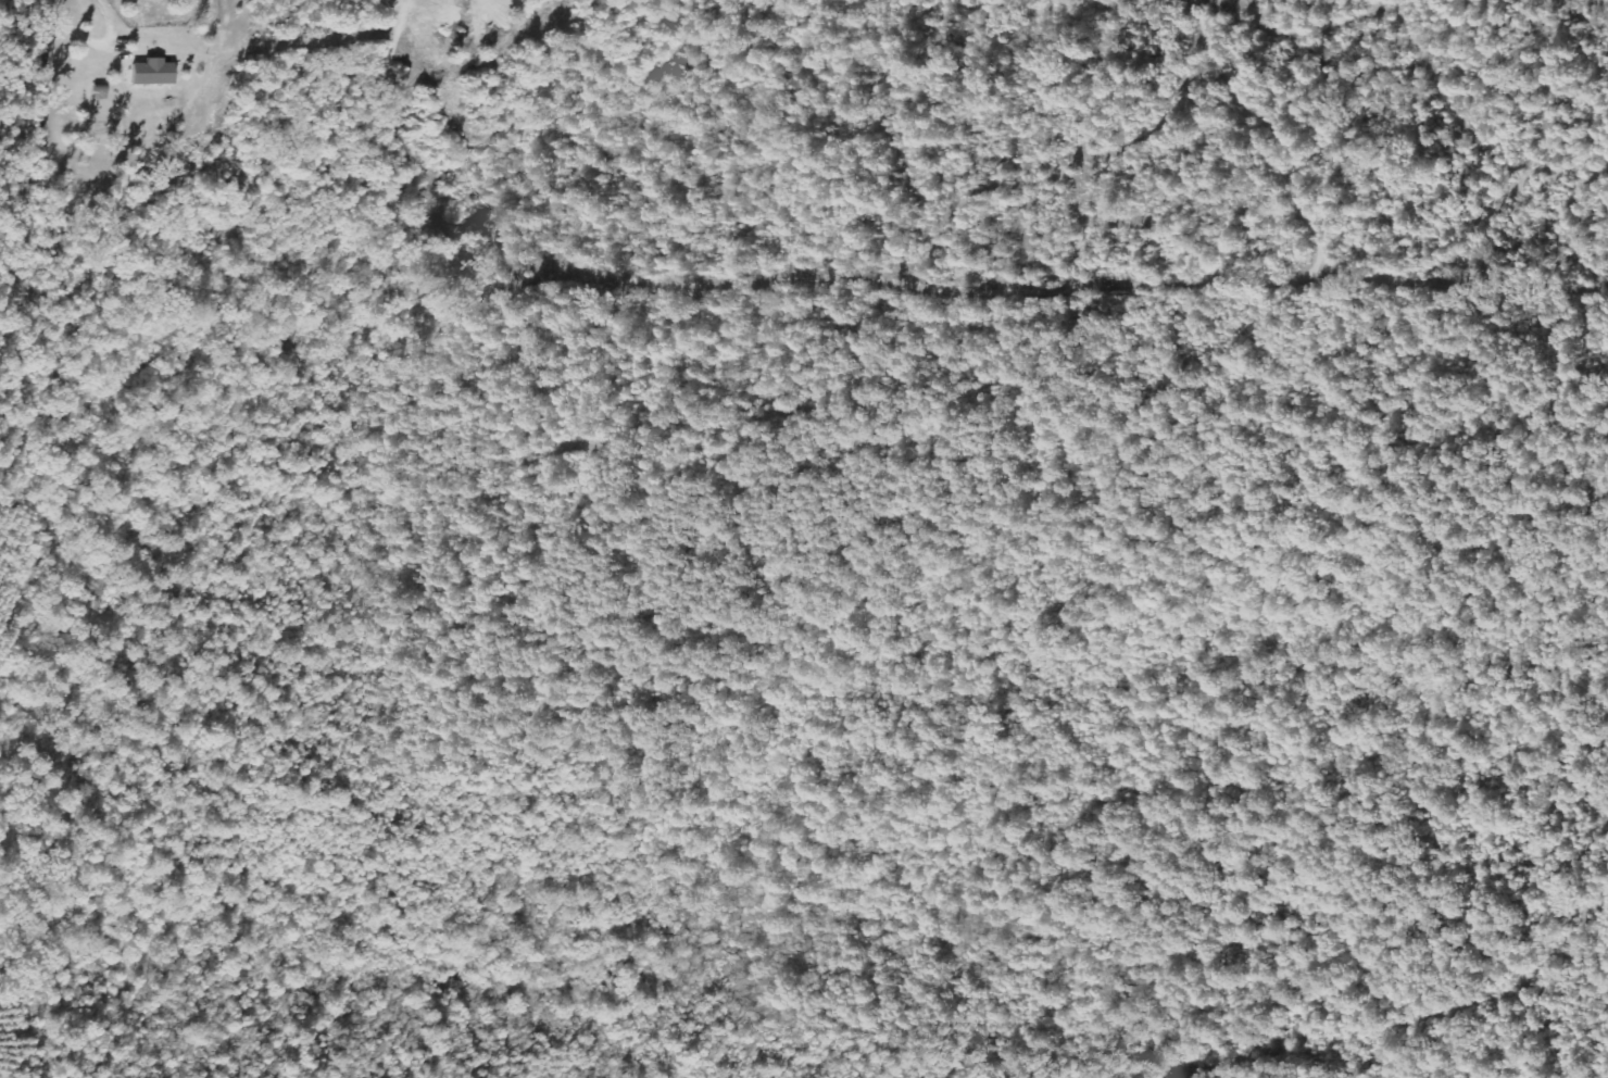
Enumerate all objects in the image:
building: (150, 75)
road: (1317, 464)

